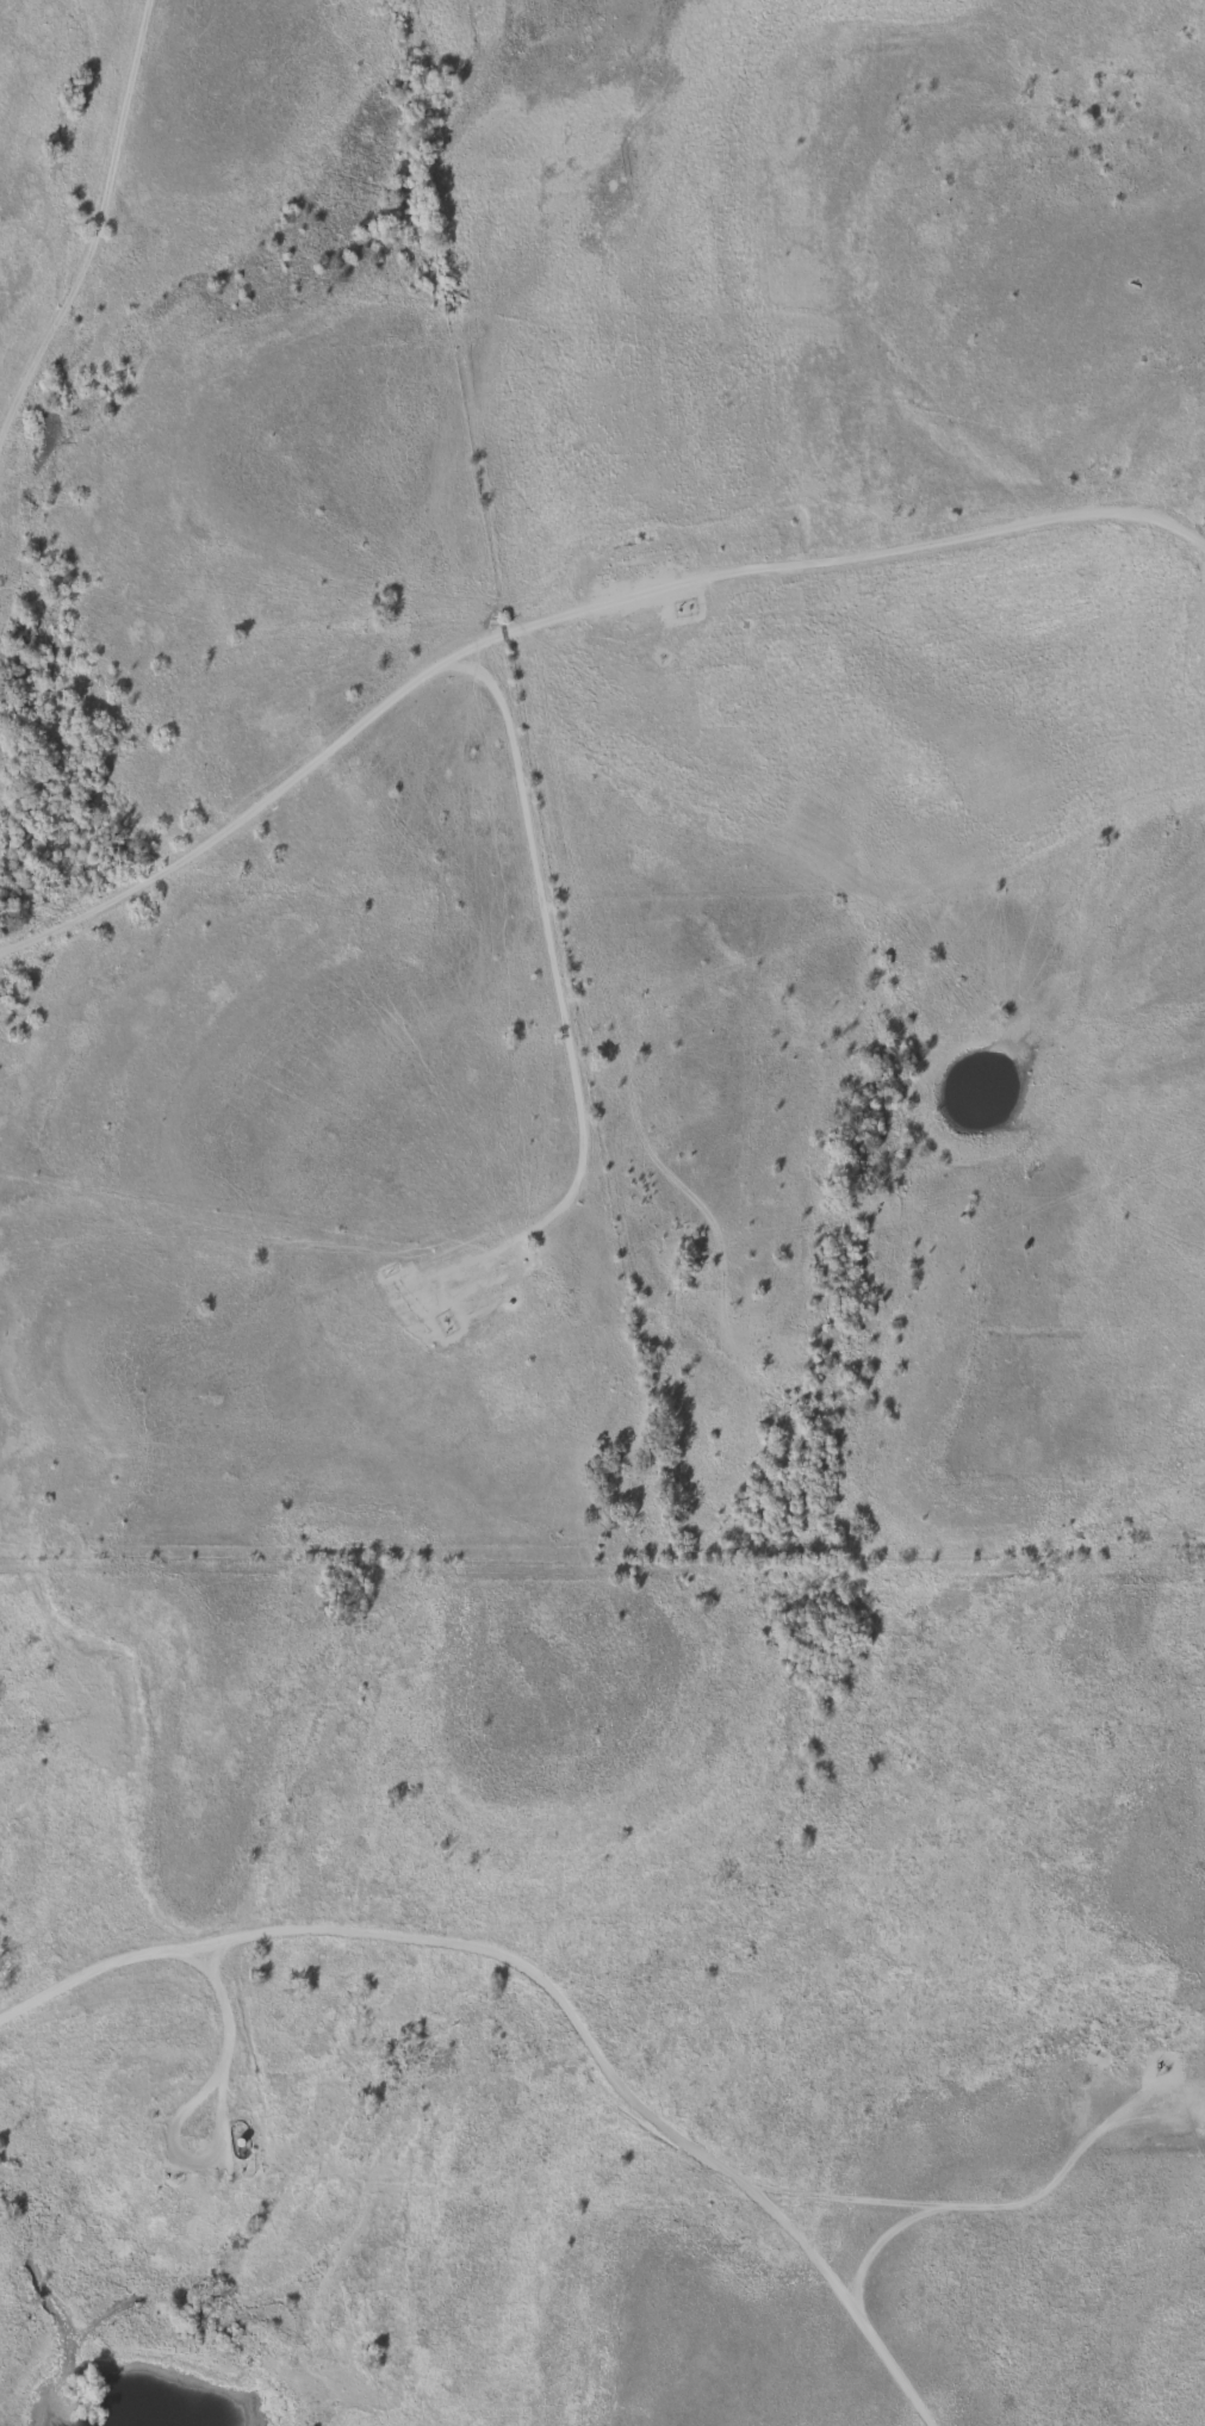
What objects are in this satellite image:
road: (94, 222)
road: (564, 618)
road: (95, 1975)
road: (604, 2079)

